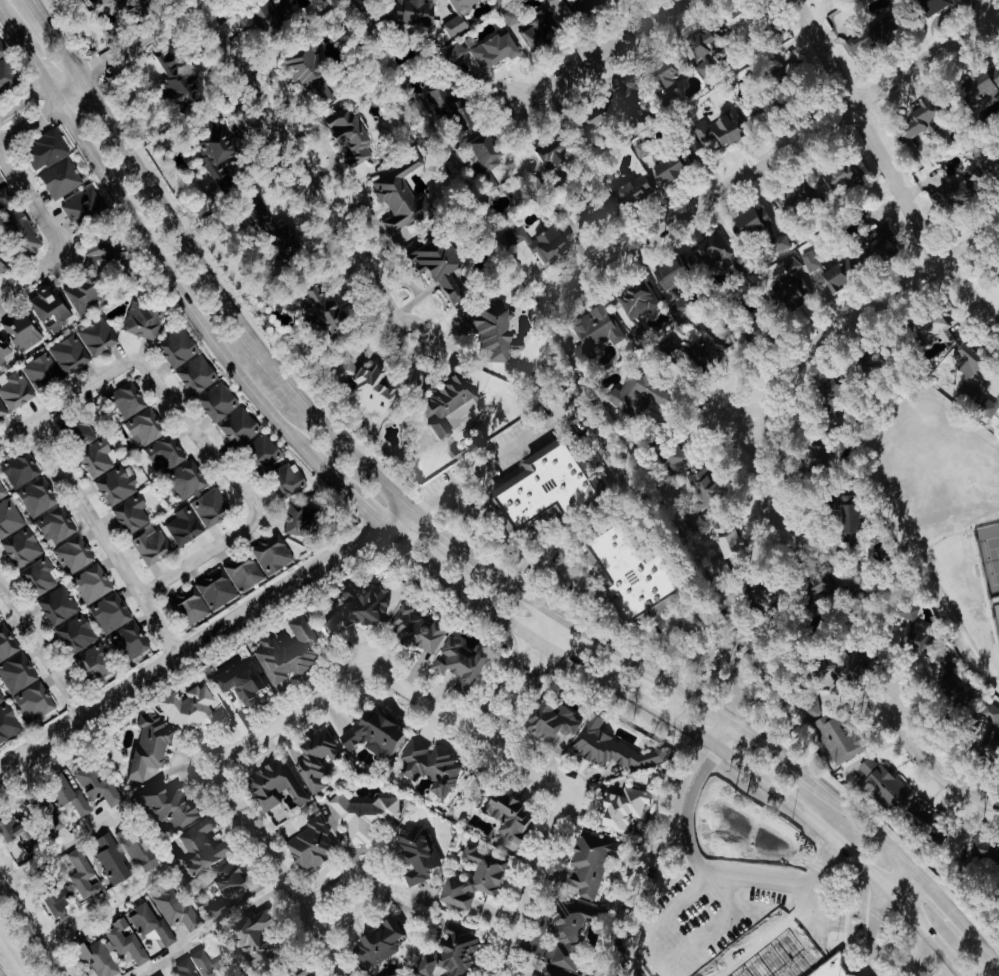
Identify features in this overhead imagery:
building: (928, 5)
building: (138, 7)
building: (580, 8)
building: (409, 11)
building: (458, 15)
building: (274, 19)
building: (742, 20)
road: (6, 25)
building: (539, 28)
building: (878, 32)
road: (145, 41)
building: (703, 46)
building: (483, 50)
road: (595, 53)
road: (33, 68)
building: (312, 69)
building: (663, 74)
building: (8, 76)
building: (183, 83)
building: (980, 85)
building: (625, 94)
road: (43, 108)
building: (456, 108)
building: (599, 117)
building: (918, 117)
building: (352, 134)
building: (648, 148)
building: (50, 151)
building: (490, 151)
building: (555, 151)
building: (221, 155)
road: (766, 158)
building: (995, 164)
road: (306, 165)
building: (679, 166)
road: (885, 172)
building: (63, 178)
building: (827, 181)
building: (640, 188)
building: (953, 191)
building: (6, 197)
building: (404, 203)
building: (87, 207)
building: (601, 213)
building: (266, 220)
road: (50, 229)
building: (765, 229)
building: (27, 230)
building: (293, 239)
building: (545, 242)
building: (876, 244)
building: (106, 252)
building: (719, 252)
building: (810, 258)
building: (3, 260)
building: (444, 265)
road: (208, 269)
building: (816, 276)
building: (998, 276)
building: (678, 279)
building: (86, 293)
road: (9, 294)
road: (185, 303)
building: (644, 306)
building: (54, 308)
building: (324, 310)
building: (145, 320)
building: (933, 326)
building: (23, 329)
building: (601, 330)
building: (499, 333)
building: (100, 336)
road: (816, 341)
building: (713, 342)
building: (180, 347)
building: (4, 348)
building: (967, 357)
building: (58, 362)
building: (198, 374)
building: (840, 385)
building: (372, 386)
building: (18, 390)
building: (645, 390)
building: (997, 396)
building: (130, 400)
building: (220, 401)
building: (452, 407)
building: (3, 409)
road: (199, 424)
building: (147, 426)
building: (241, 427)
building: (87, 431)
road: (529, 431)
building: (265, 452)
building: (681, 453)
building: (167, 454)
building: (100, 456)
building: (23, 469)
building: (188, 479)
building: (287, 480)
building: (709, 484)
building: (563, 485)
building: (2, 491)
building: (39, 496)
building: (213, 508)
road: (361, 509)
building: (133, 513)
building: (10, 518)
building: (302, 520)
building: (860, 521)
building: (57, 525)
building: (186, 525)
road: (445, 536)
building: (734, 538)
road: (115, 542)
building: (154, 545)
building: (23, 547)
building: (75, 554)
building: (275, 554)
road: (530, 558)
park: (991, 559)
building: (642, 569)
building: (248, 573)
building: (41, 576)
building: (828, 582)
building: (94, 583)
building: (219, 589)
road: (522, 591)
building: (60, 605)
building: (195, 605)
building: (364, 607)
building: (916, 610)
building: (112, 612)
building: (0, 620)
road: (679, 627)
building: (422, 628)
building: (78, 633)
building: (924, 637)
road: (597, 638)
building: (130, 641)
building: (7, 643)
road: (46, 645)
road: (209, 646)
building: (294, 651)
building: (467, 659)
road: (508, 661)
building: (950, 661)
building: (97, 662)
building: (854, 669)
building: (18, 673)
road: (375, 673)
building: (246, 681)
road: (531, 683)
road: (678, 684)
building: (2, 697)
building: (36, 701)
building: (191, 708)
building: (993, 710)
building: (558, 720)
building: (8, 722)
road: (722, 731)
road: (690, 732)
building: (841, 732)
building: (382, 734)
road: (768, 742)
building: (615, 746)
building: (154, 747)
building: (998, 751)
building: (319, 760)
road: (934, 760)
building: (434, 765)
building: (279, 784)
building: (103, 786)
building: (72, 794)
building: (906, 796)
building: (173, 805)
building: (629, 807)
road: (688, 809)
building: (369, 814)
road: (857, 818)
building: (518, 819)
building: (22, 833)
building: (316, 844)
building: (207, 846)
building: (989, 846)
road: (60, 849)
building: (142, 851)
building: (422, 851)
building: (115, 859)
building: (595, 863)
road: (821, 866)
building: (86, 874)
road: (377, 875)
road: (899, 877)
building: (479, 880)
road: (766, 886)
building: (232, 887)
road: (942, 900)
building: (61, 905)
building: (178, 909)
road: (33, 923)
building: (153, 923)
road: (745, 923)
road: (709, 925)
parking lot: (726, 929)
road: (869, 932)
building: (265, 934)
building: (574, 936)
building: (127, 941)
building: (385, 942)
road: (797, 944)
road: (986, 950)
building: (456, 952)
building: (100, 958)
road: (170, 960)
road: (845, 962)
building: (212, 965)
building: (832, 967)
building: (188, 968)
building: (559, 971)
building: (162, 975)
building: (872, 975)

